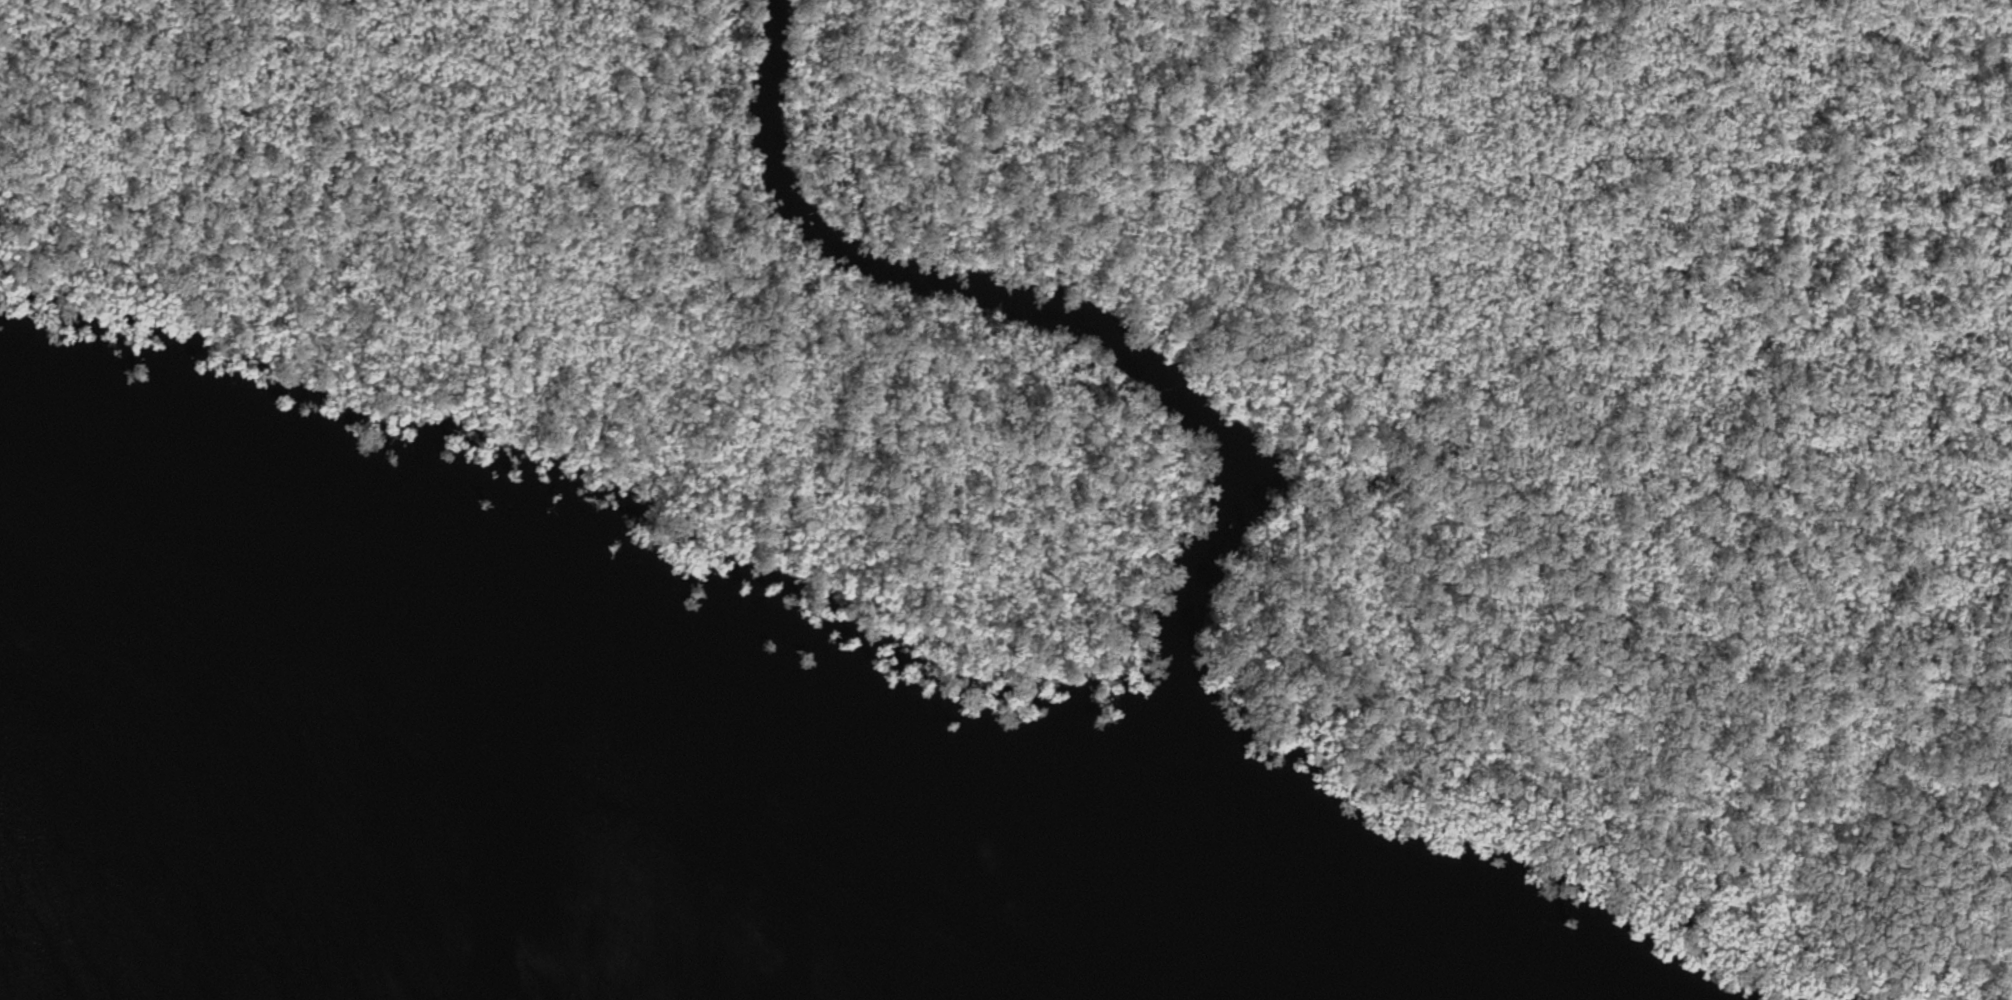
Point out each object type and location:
park: (635, 295)
river: (304, 872)

